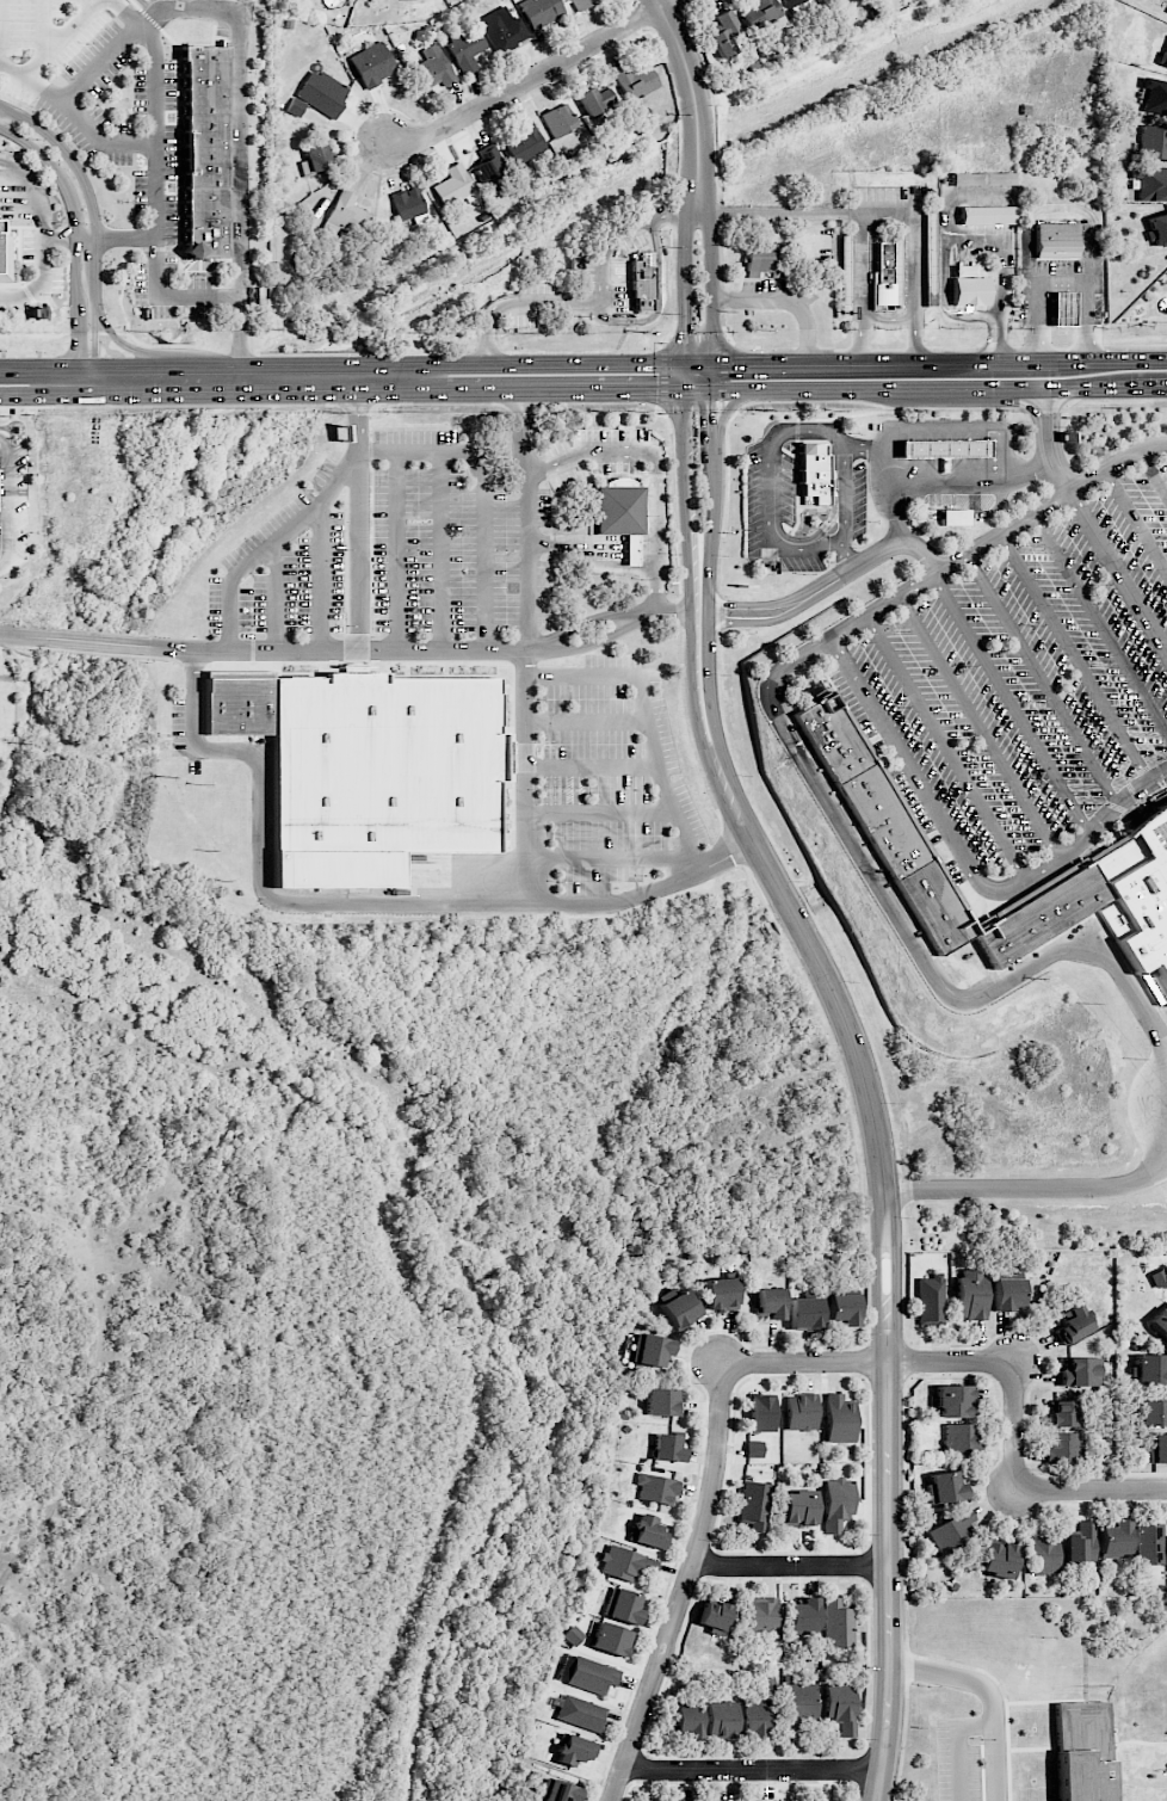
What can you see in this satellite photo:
building: (400, 0)
building: (794, 2)
building: (579, 4)
road: (86, 7)
building: (539, 11)
building: (767, 13)
building: (1166, 13)
road: (0, 20)
road: (140, 27)
road: (43, 30)
building: (502, 30)
building: (723, 33)
parking lot: (45, 38)
road: (63, 38)
building: (467, 49)
building: (1163, 56)
building: (372, 64)
building: (433, 68)
road: (535, 78)
road: (30, 80)
building: (635, 81)
building: (322, 92)
building: (1154, 94)
building: (593, 99)
road: (696, 99)
building: (295, 106)
building: (558, 119)
road: (99, 143)
building: (525, 143)
building: (1153, 143)
parking lot: (134, 150)
building: (205, 150)
building: (316, 160)
building: (489, 164)
building: (1150, 183)
building: (455, 186)
road: (239, 196)
road: (36, 199)
road: (156, 201)
building: (407, 203)
road: (1058, 208)
road: (673, 209)
road: (786, 212)
road: (885, 212)
building: (347, 216)
road: (94, 228)
building: (1157, 229)
road: (686, 236)
road: (58, 238)
road: (115, 238)
building: (1055, 239)
road: (967, 241)
parking lot: (634, 243)
road: (74, 245)
road: (605, 247)
building: (5, 257)
building: (930, 257)
building: (764, 261)
building: (844, 267)
building: (885, 270)
parking lot: (588, 272)
building: (642, 279)
road: (39, 282)
road: (1060, 282)
road: (712, 283)
parking lot: (537, 286)
parking lot: (618, 286)
building: (968, 286)
road: (122, 288)
road: (656, 301)
road: (519, 303)
road: (785, 304)
building: (1063, 309)
gas station: (1063, 309)
road: (35, 313)
road: (686, 315)
parking lot: (572, 320)
parking lot: (520, 321)
traffic signals: (686, 333)
road: (55, 335)
road: (128, 349)
road: (453, 352)
road: (582, 363)
traffic signals: (729, 363)
road: (685, 376)
road: (708, 376)
road: (517, 377)
road: (354, 378)
road: (583, 390)
traffic signals: (653, 390)
road: (539, 402)
traffic signals: (708, 415)
road: (721, 418)
road: (1048, 440)
building: (944, 448)
gas station: (944, 448)
road: (1043, 465)
road: (654, 467)
road: (879, 469)
road: (1153, 473)
building: (813, 474)
road: (958, 476)
road: (484, 494)
road: (7, 501)
road: (1049, 501)
building: (619, 510)
building: (956, 517)
road: (1135, 522)
road: (771, 529)
road: (900, 529)
road: (530, 532)
road: (272, 547)
parking lot: (401, 547)
road: (846, 553)
road: (859, 562)
road: (1118, 569)
road: (673, 612)
road: (741, 612)
road: (708, 618)
road: (692, 623)
road: (357, 624)
road: (1099, 625)
road: (593, 629)
road: (10, 635)
road: (85, 641)
road: (444, 649)
road: (1075, 658)
road: (566, 674)
road: (1042, 679)
parking lot: (1026, 680)
building: (241, 702)
road: (1011, 703)
road: (980, 728)
road: (946, 748)
building: (382, 776)
parking lot: (609, 777)
building: (859, 787)
road: (731, 843)
road: (727, 856)
road: (964, 858)
road: (872, 877)
building: (1138, 896)
road: (335, 903)
road: (850, 1032)
road: (848, 1099)
road: (1027, 1190)
building: (1157, 1277)
building: (718, 1294)
building: (970, 1294)
building: (1008, 1294)
building: (931, 1297)
building: (767, 1302)
road: (887, 1302)
building: (679, 1308)
building: (841, 1308)
building: (802, 1313)
building: (1160, 1322)
building: (1073, 1324)
building: (1148, 1370)
building: (1081, 1371)
building: (952, 1401)
building: (661, 1402)
building: (761, 1412)
building: (801, 1412)
building: (1153, 1412)
building: (1061, 1413)
building: (839, 1418)
building: (961, 1438)
building: (667, 1447)
building: (1063, 1447)
building: (754, 1448)
building: (1157, 1448)
road: (715, 1449)
building: (944, 1487)
building: (656, 1488)
road: (1026, 1488)
building: (836, 1503)
building: (754, 1505)
building: (798, 1509)
building: (952, 1529)
building: (647, 1531)
building: (1114, 1540)
building: (1080, 1543)
building: (1149, 1543)
building: (1042, 1555)
building: (998, 1559)
road: (791, 1567)
road: (890, 1580)
building: (622, 1605)
building: (803, 1615)
building: (712, 1616)
building: (761, 1616)
building: (836, 1623)
building: (572, 1635)
building: (611, 1639)
building: (586, 1674)
road: (989, 1695)
building: (799, 1702)
building: (840, 1707)
building: (580, 1713)
building: (757, 1717)
building: (722, 1719)
building: (686, 1721)
road: (958, 1747)
building: (573, 1750)
building: (1081, 1751)
road: (754, 1769)
building: (556, 1790)
building: (784, 1800)

